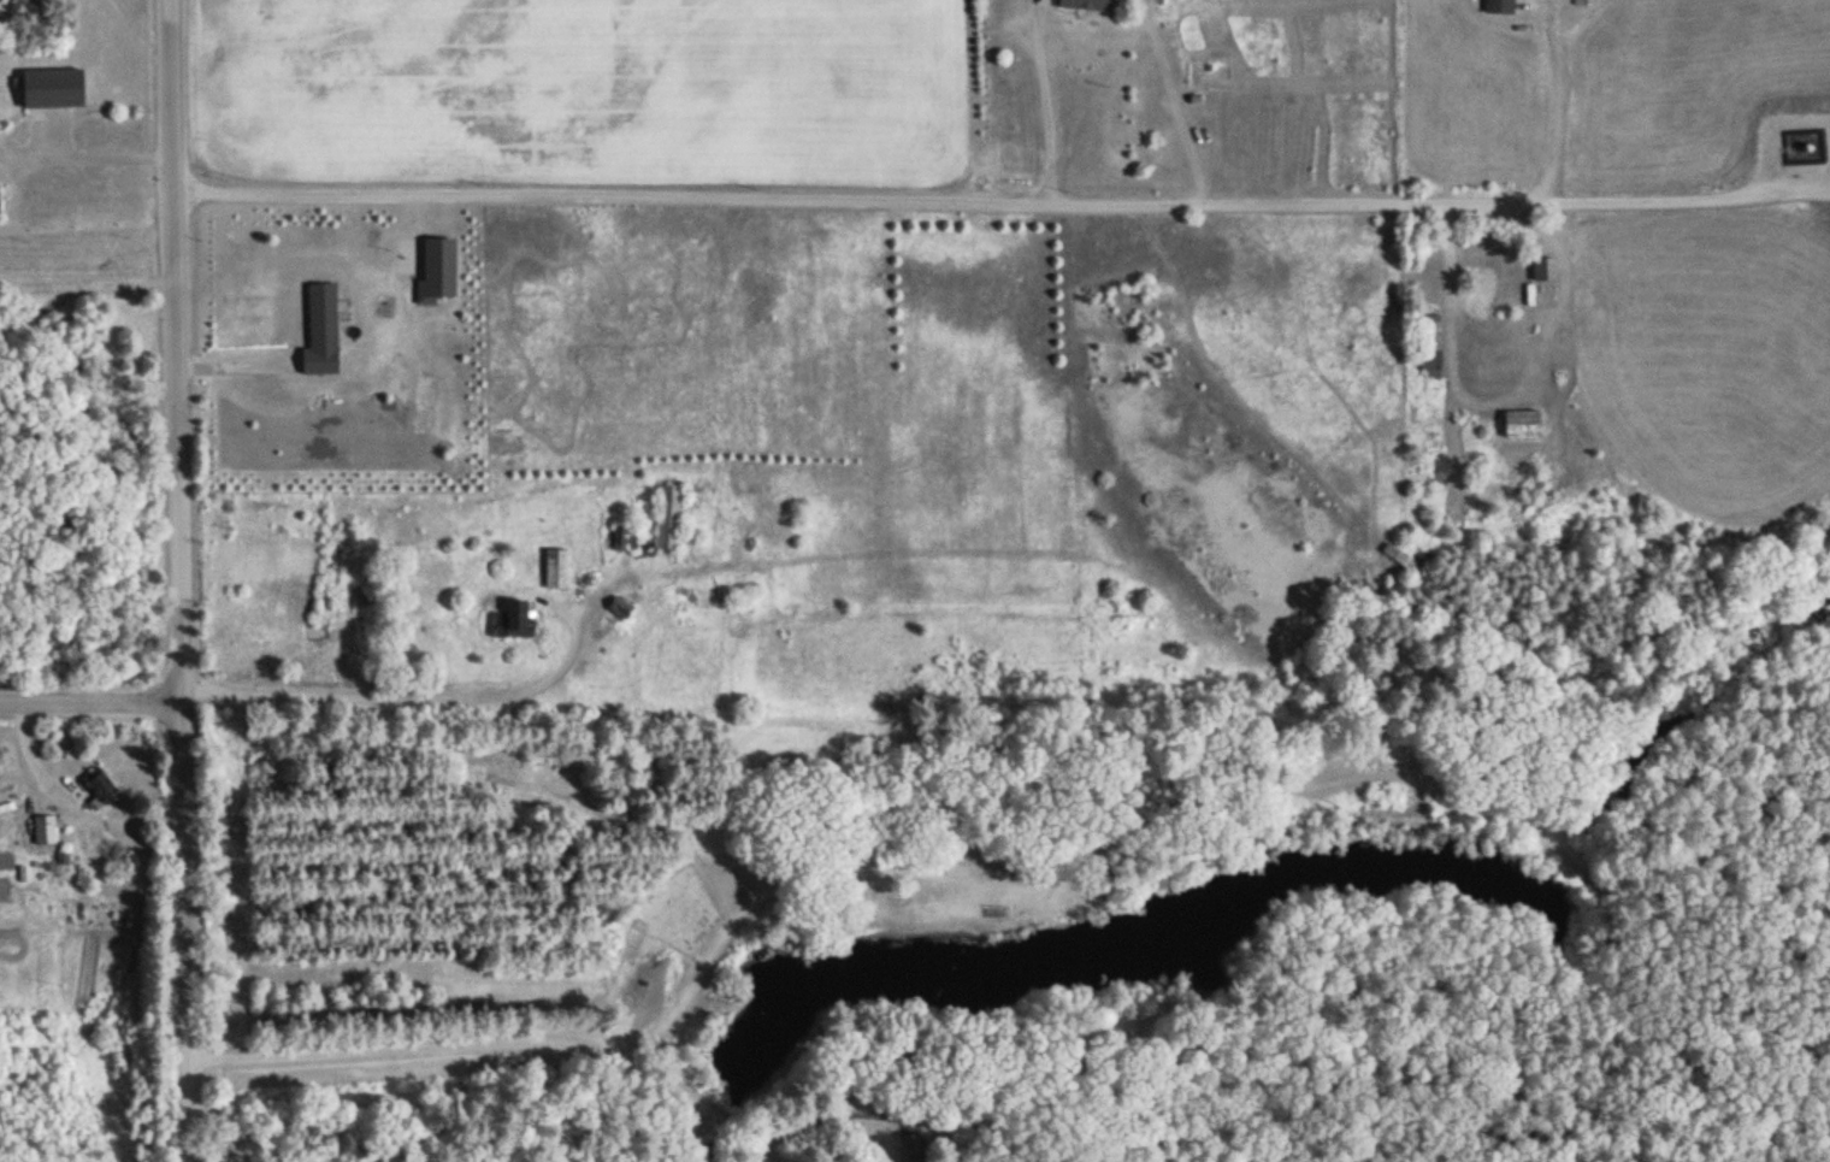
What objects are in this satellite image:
building: (1090, 4)
building: (1501, 6)
building: (55, 88)
road: (1554, 116)
road: (999, 195)
road: (1826, 199)
building: (1546, 279)
building: (1482, 297)
building: (324, 330)
building: (1431, 348)
building: (671, 518)
building: (626, 539)
building: (1407, 561)
building: (557, 570)
road: (178, 580)
building: (687, 595)
building: (624, 607)
building: (521, 619)
road: (401, 691)
road: (90, 698)
building: (102, 785)
building: (47, 830)
building: (914, 1148)

